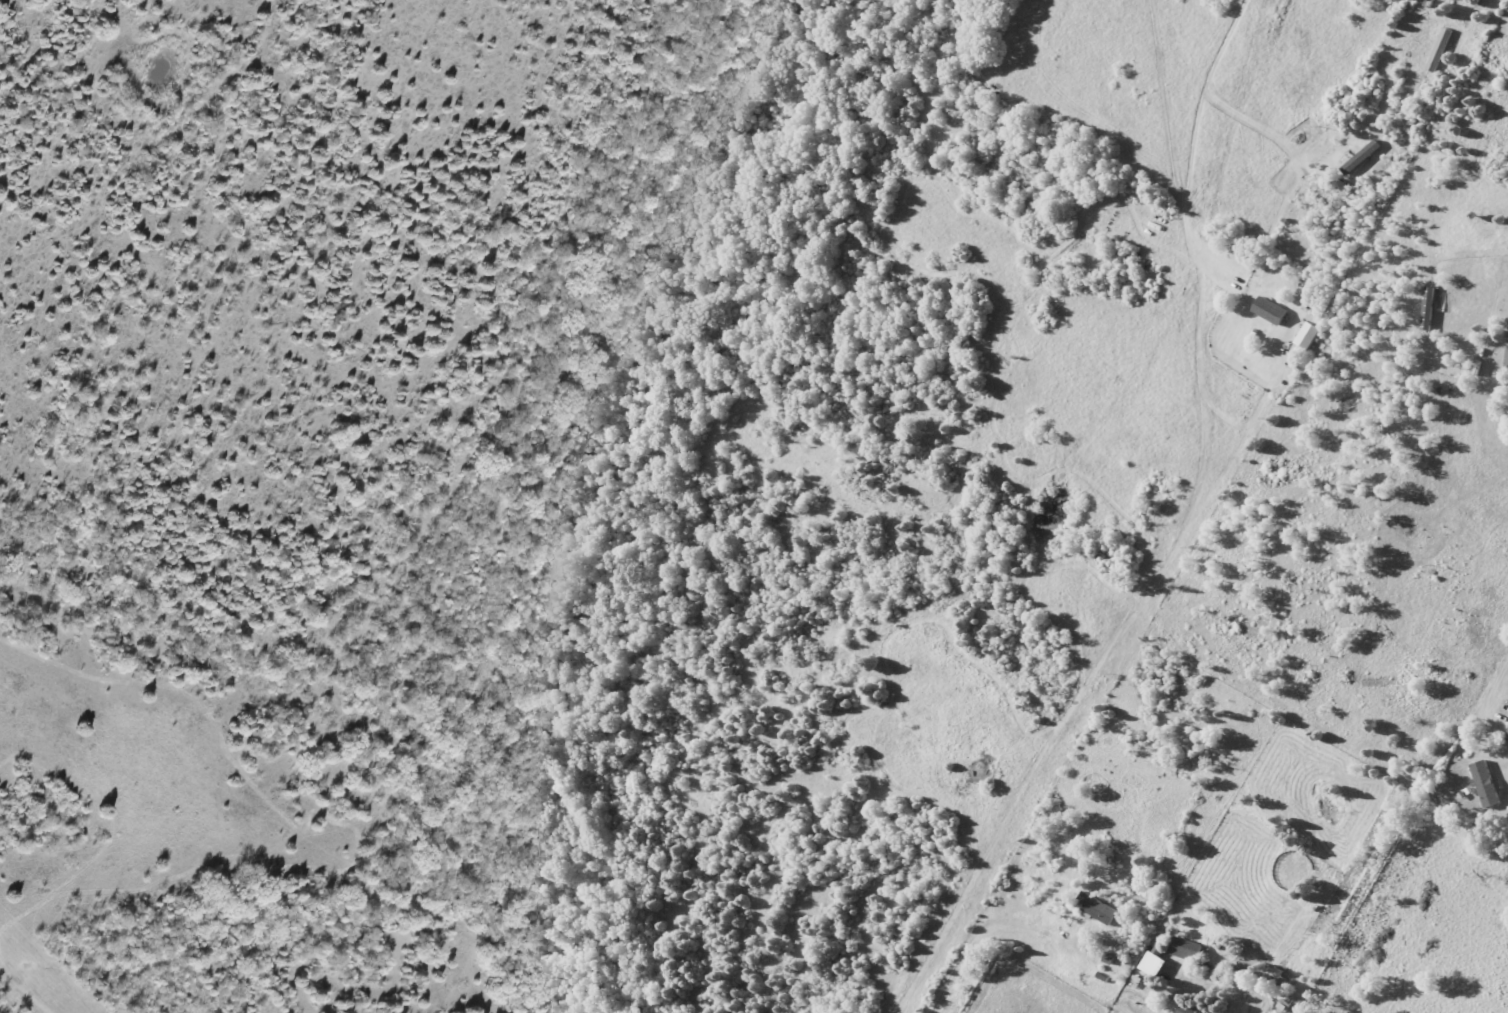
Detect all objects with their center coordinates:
road: (1222, 153)
building: (1430, 308)
building: (1272, 310)
building: (1309, 335)
building: (1507, 363)
road: (1486, 693)
building: (1507, 739)
building: (1486, 784)
building: (1098, 908)
building: (1187, 949)
building: (1154, 964)
building: (1192, 1009)

